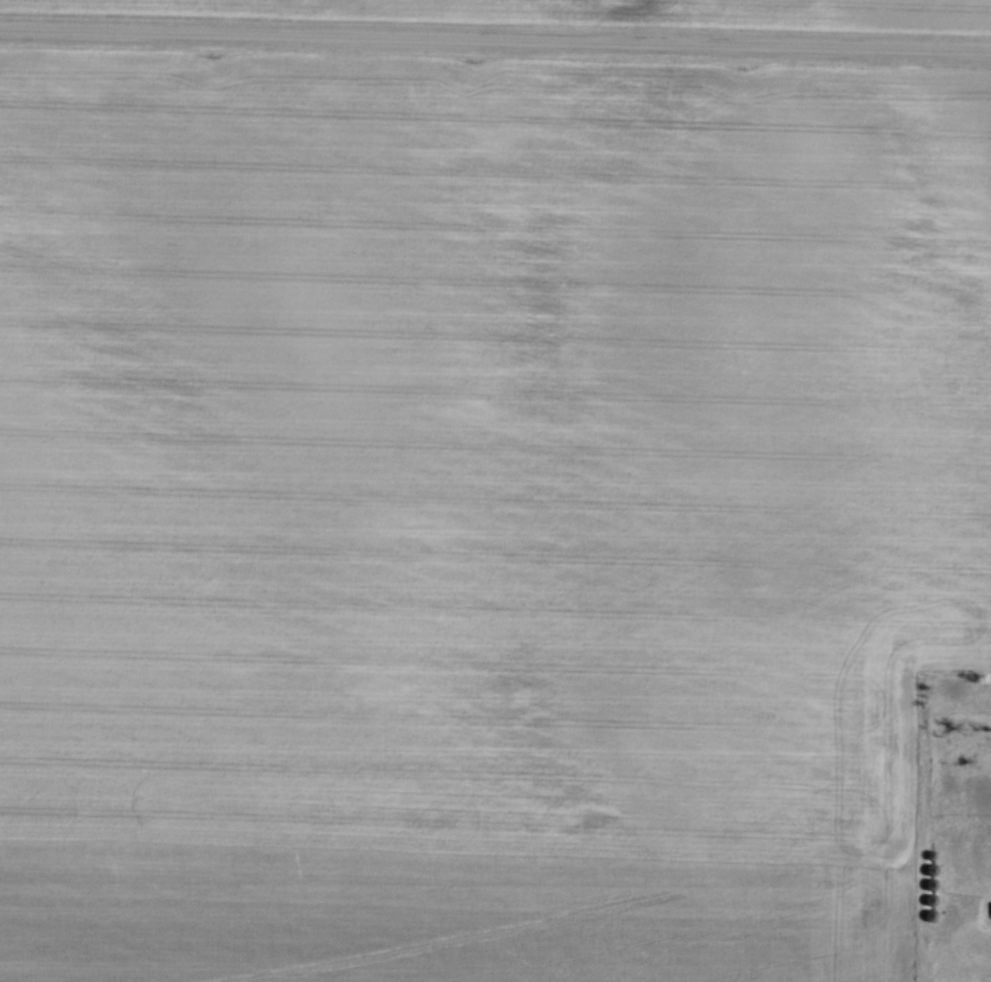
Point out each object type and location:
crop: (587, 10)
road: (495, 39)
crop: (482, 512)
silo: (932, 855)
silo: (931, 869)
silo: (931, 882)
silo: (931, 899)
silo: (930, 914)

